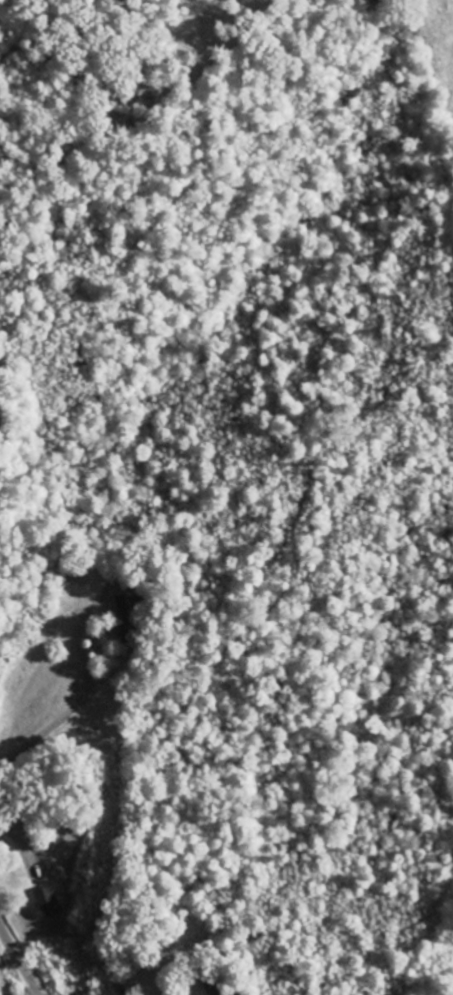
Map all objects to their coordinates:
building: (48, 902)
road: (19, 961)

